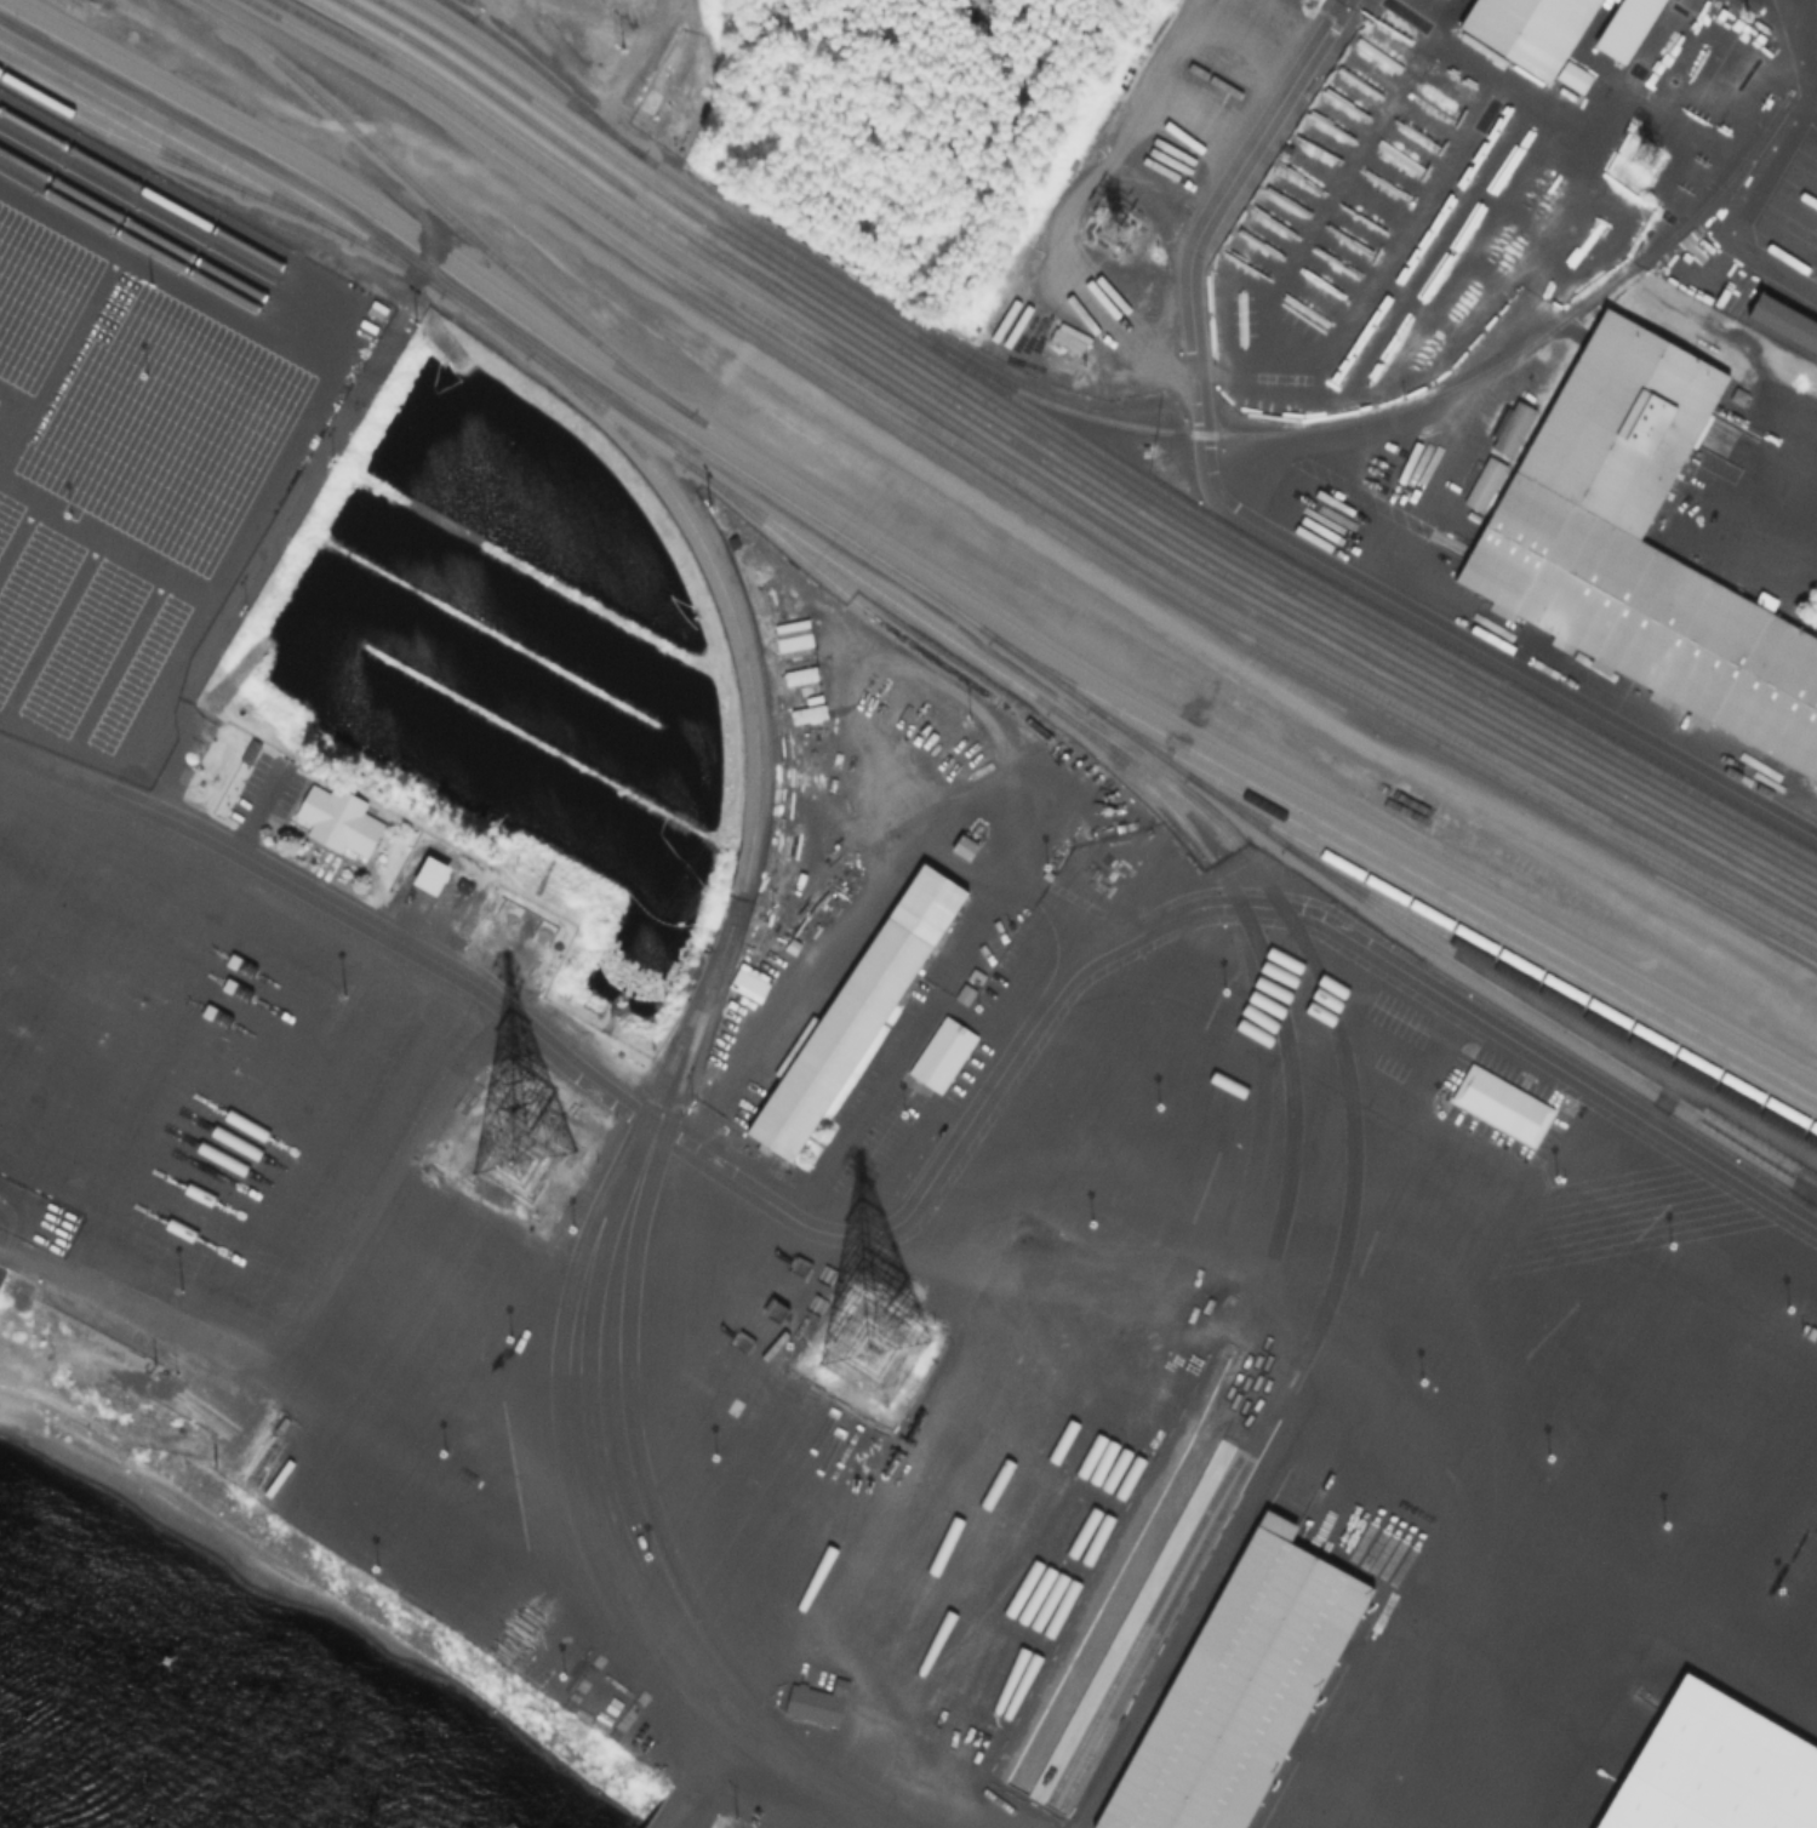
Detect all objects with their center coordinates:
railway: (404, 16)
power tower: (1744, 19)
building: (1530, 28)
road: (647, 46)
road: (1807, 48)
railway: (543, 72)
railway: (495, 96)
railway: (103, 128)
railway: (152, 139)
railway: (195, 152)
power tower: (1639, 154)
railway: (668, 172)
railway: (142, 189)
railway: (429, 198)
railway: (138, 202)
road: (1742, 204)
railway: (133, 225)
power tower: (1129, 230)
railway: (130, 239)
building: (1785, 324)
railway: (1409, 399)
road: (288, 456)
railway: (1110, 478)
railway: (1046, 482)
railway: (1032, 490)
railway: (1019, 498)
road: (1272, 541)
building: (1640, 549)
railway: (910, 555)
railway: (1219, 571)
railway: (895, 572)
railway: (847, 598)
railway: (1369, 610)
road: (998, 811)
building: (337, 822)
railway: (750, 836)
road: (257, 863)
railway: (1407, 886)
road: (1061, 909)
railway: (1469, 933)
railway: (1297, 936)
road: (1103, 950)
railway: (1258, 953)
railway: (1514, 973)
building: (855, 1012)
railway: (1552, 1022)
building: (1502, 1102)
power tower: (533, 1166)
pier: (1, 1275)
road: (310, 1306)
power tower: (872, 1355)
railway: (636, 1450)
railway: (610, 1512)
railway: (1160, 1594)
building: (1236, 1695)
building: (815, 1702)
building: (1715, 1772)
pier: (673, 1817)

